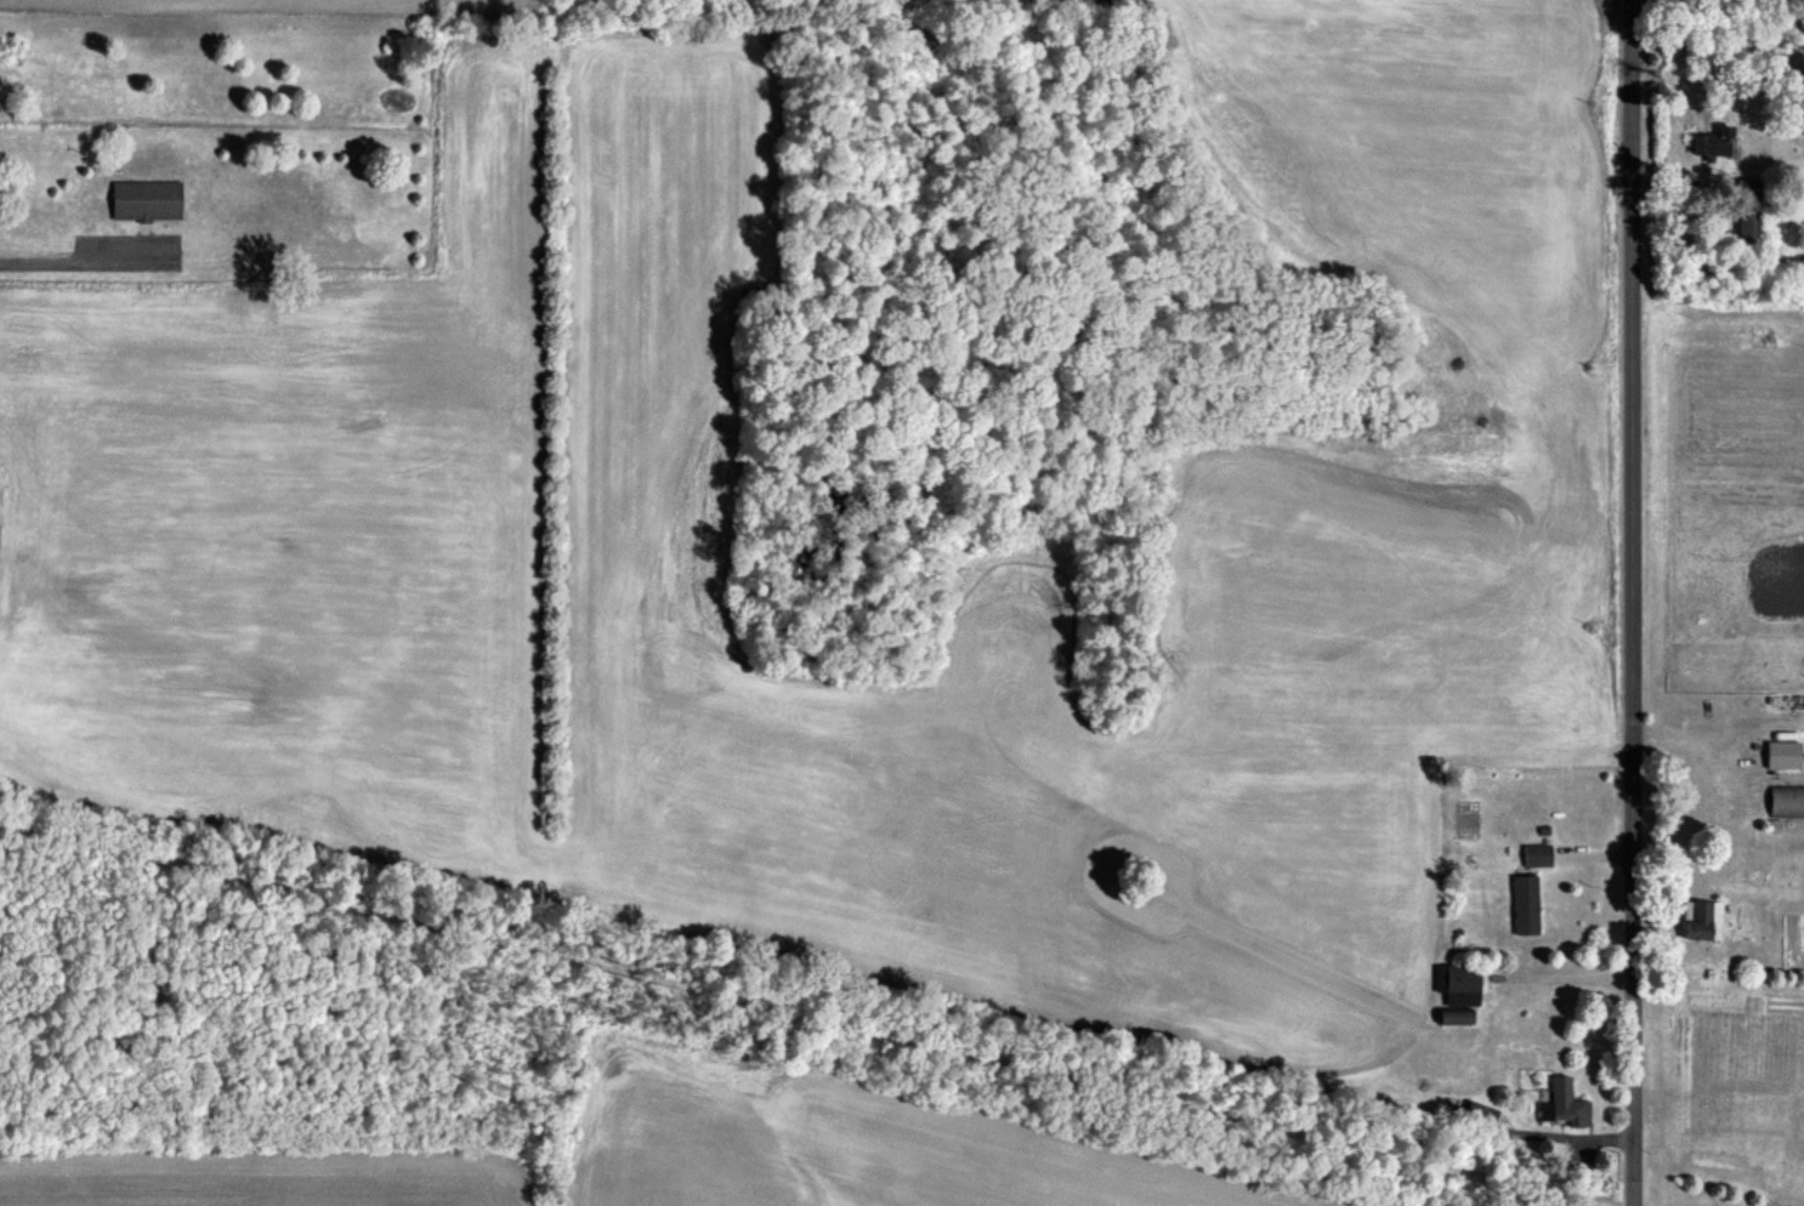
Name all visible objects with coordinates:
building: (1711, 142)
building: (146, 199)
building: (1746, 212)
road: (134, 257)
road: (49, 258)
road: (1633, 602)
building: (1780, 753)
building: (1786, 800)
building: (1536, 854)
building: (1524, 904)
building: (1702, 921)
building: (1457, 984)
road: (802, 1013)
building: (1450, 1016)
building: (1564, 1104)
building: (1480, 1111)

